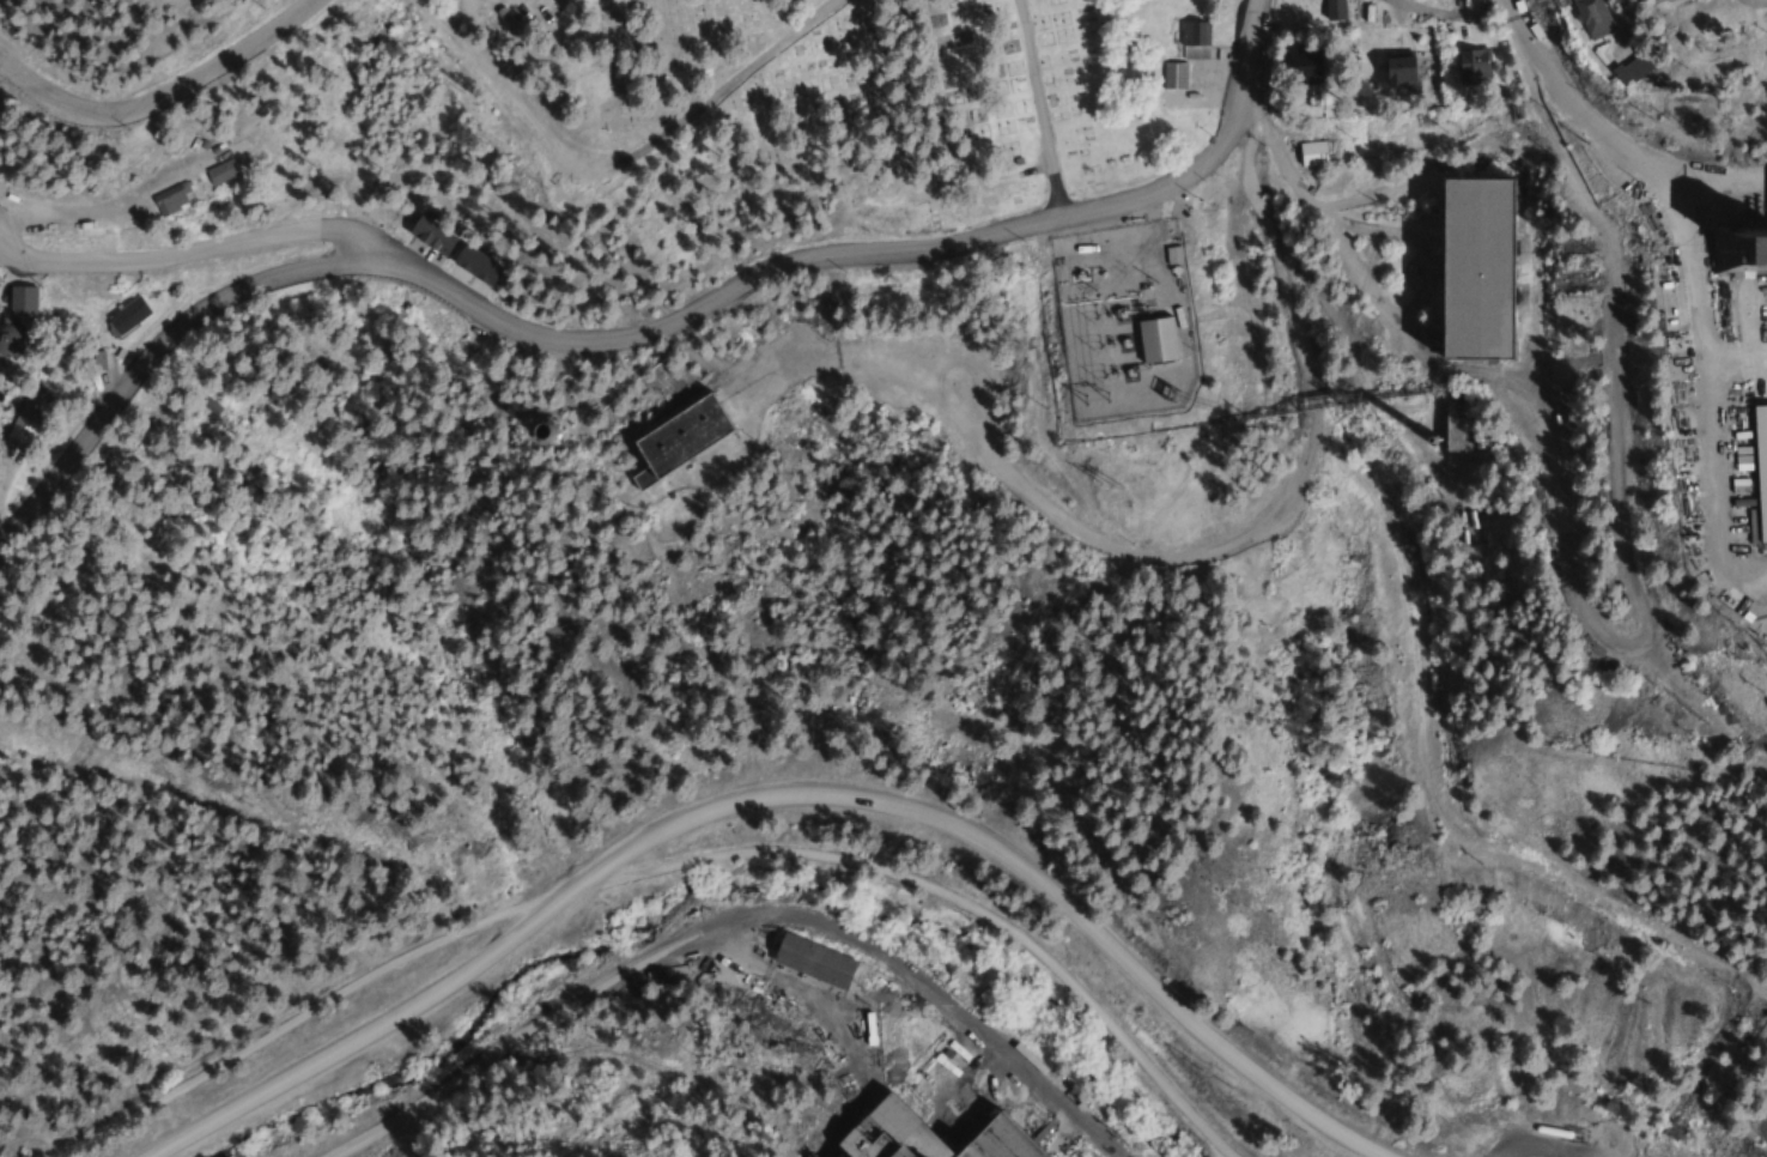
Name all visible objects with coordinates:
road: (1736, 0)
road: (1744, 1)
road: (1507, 5)
road: (1422, 6)
building: (1332, 10)
building: (1586, 18)
building: (1191, 42)
road: (1240, 67)
building: (1305, 67)
building: (1470, 67)
building: (1397, 69)
building: (1627, 71)
building: (1172, 77)
road: (160, 91)
road: (1034, 107)
road: (1609, 138)
building: (1310, 153)
road: (617, 156)
building: (215, 172)
building: (165, 200)
building: (1735, 216)
road: (1, 234)
building: (427, 237)
road: (189, 253)
building: (1464, 260)
building: (472, 267)
building: (17, 302)
power substation: (1109, 307)
building: (126, 315)
building: (796, 333)
road: (567, 337)
building: (1153, 340)
building: (5, 341)
road: (1689, 346)
building: (19, 417)
building: (669, 441)
building: (1744, 450)
road: (1194, 550)
road: (1575, 620)
road: (777, 800)
road: (650, 871)
building: (810, 961)
building: (922, 1134)

